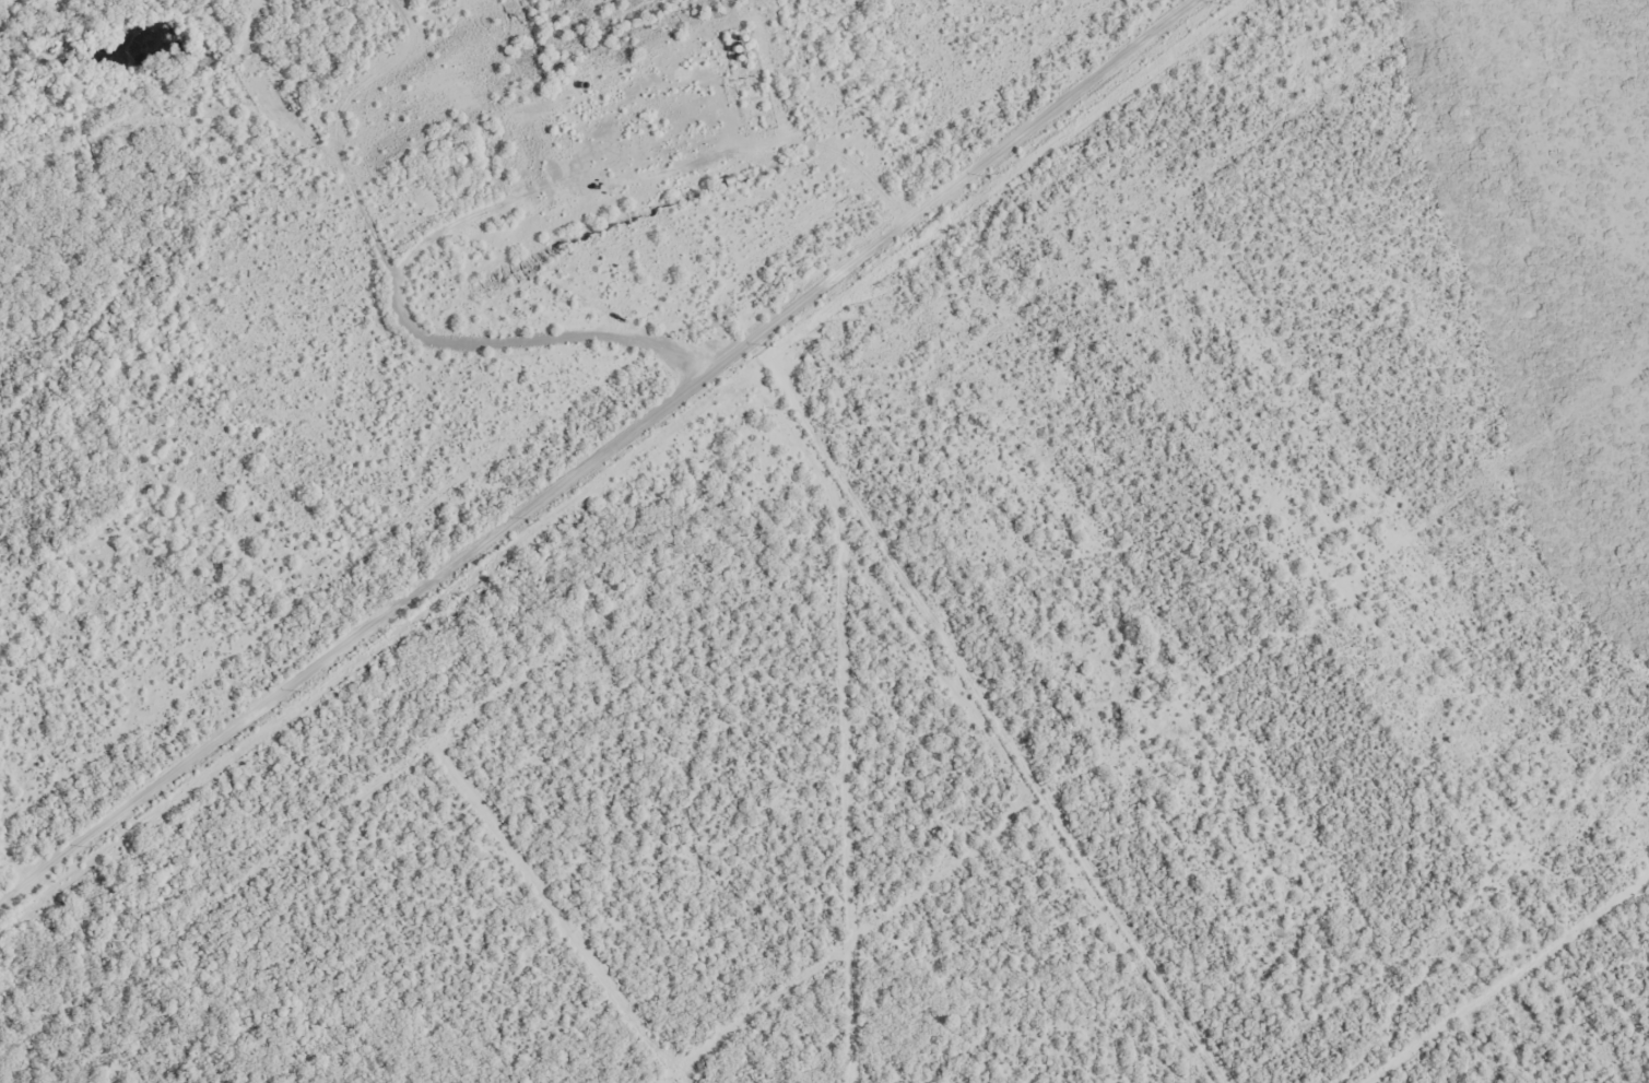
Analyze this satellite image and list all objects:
road: (619, 470)

